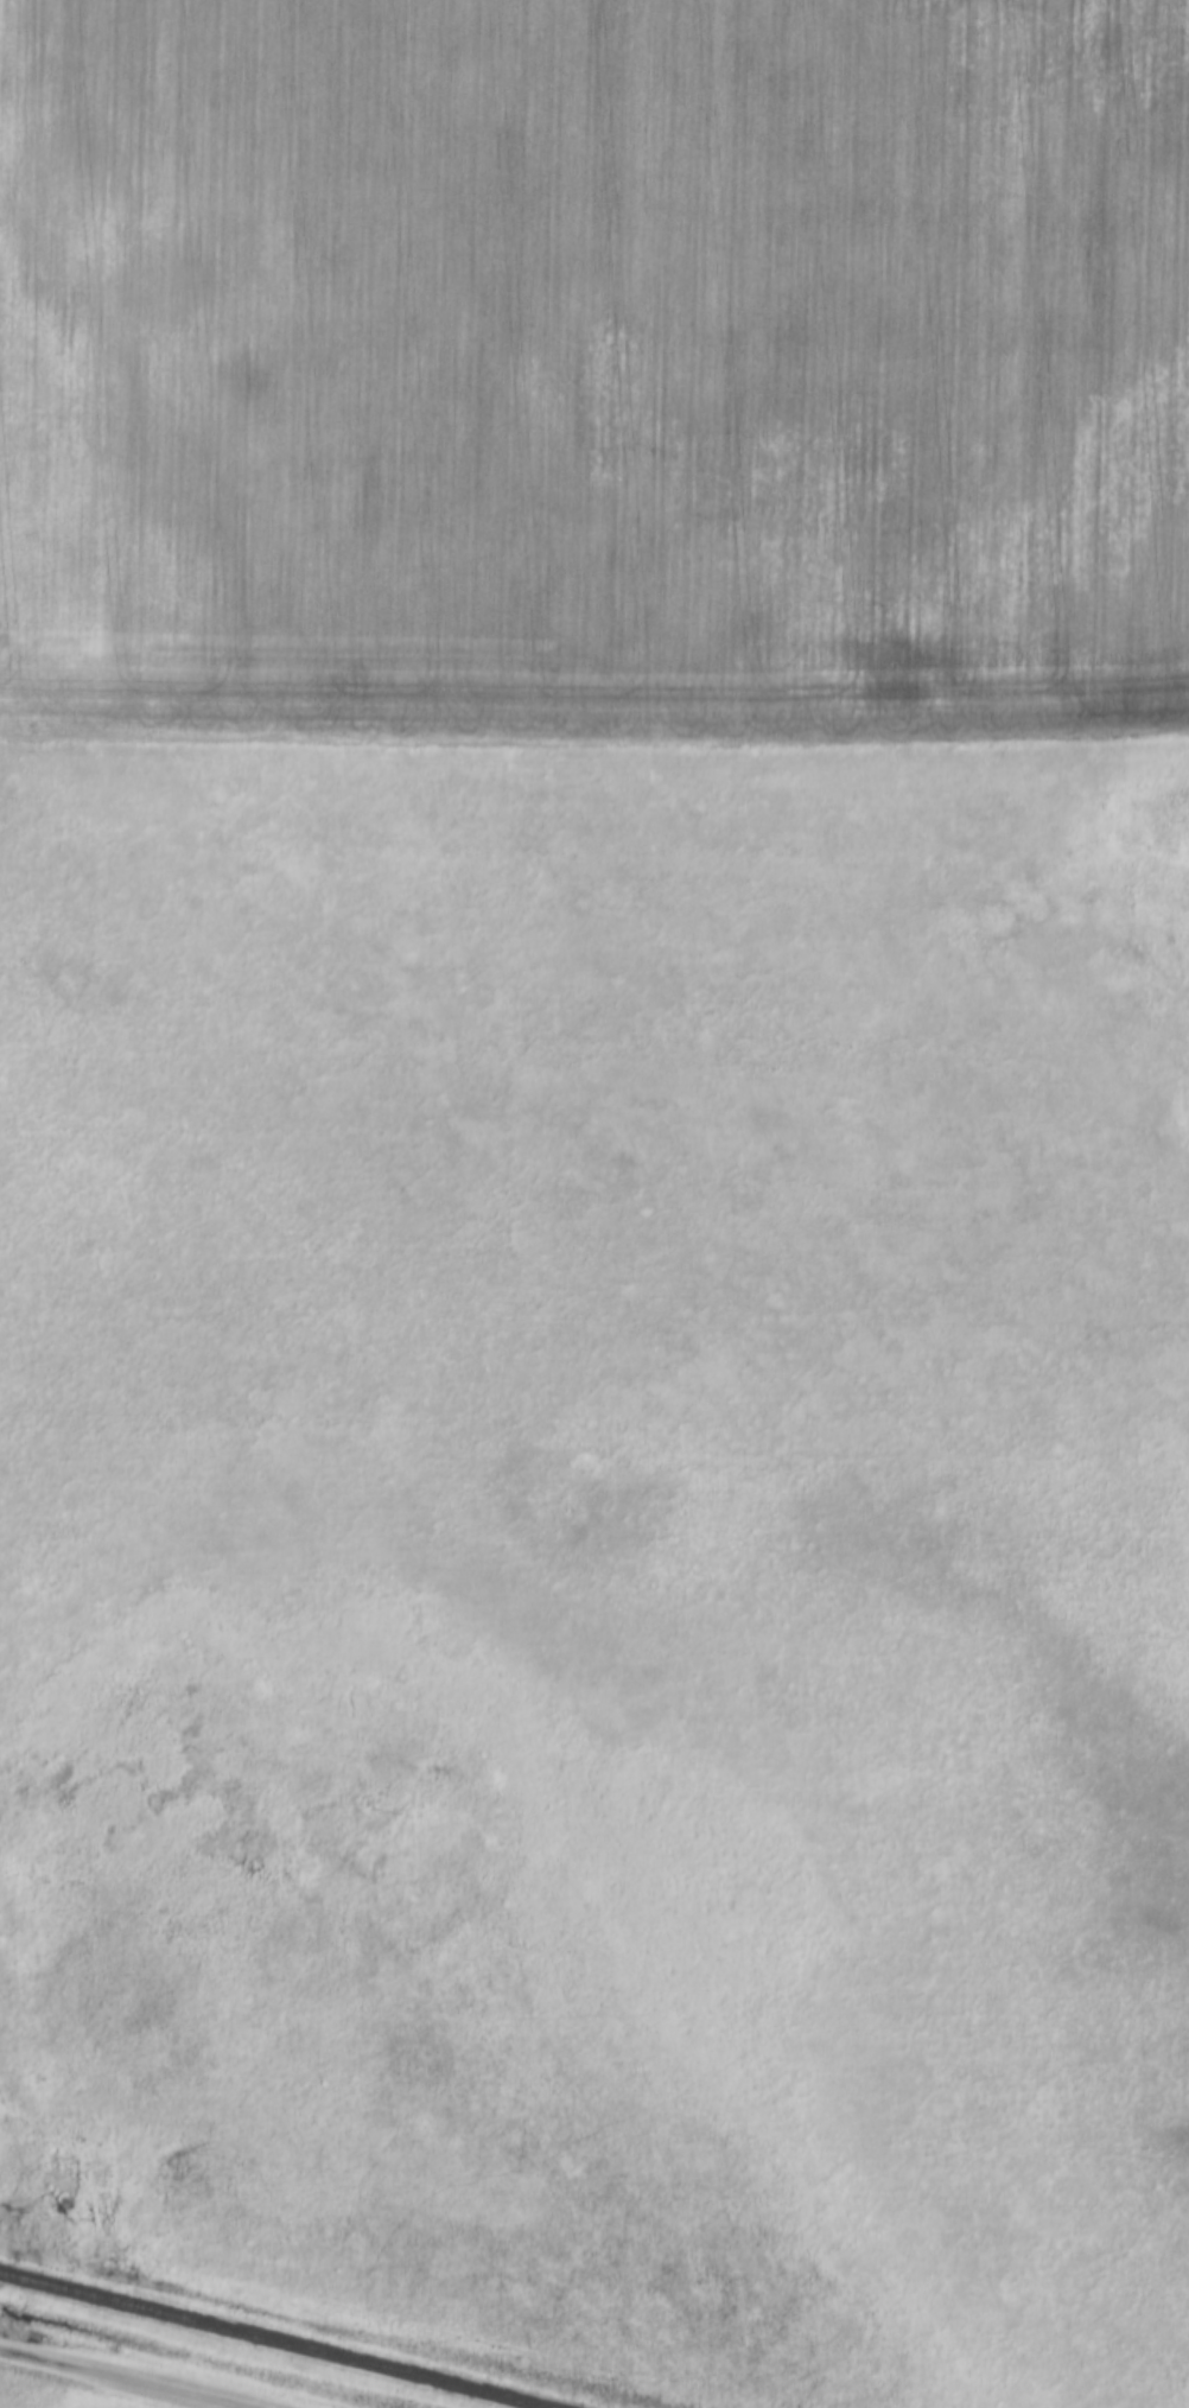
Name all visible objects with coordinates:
railway: (271, 2340)
road: (119, 2378)

